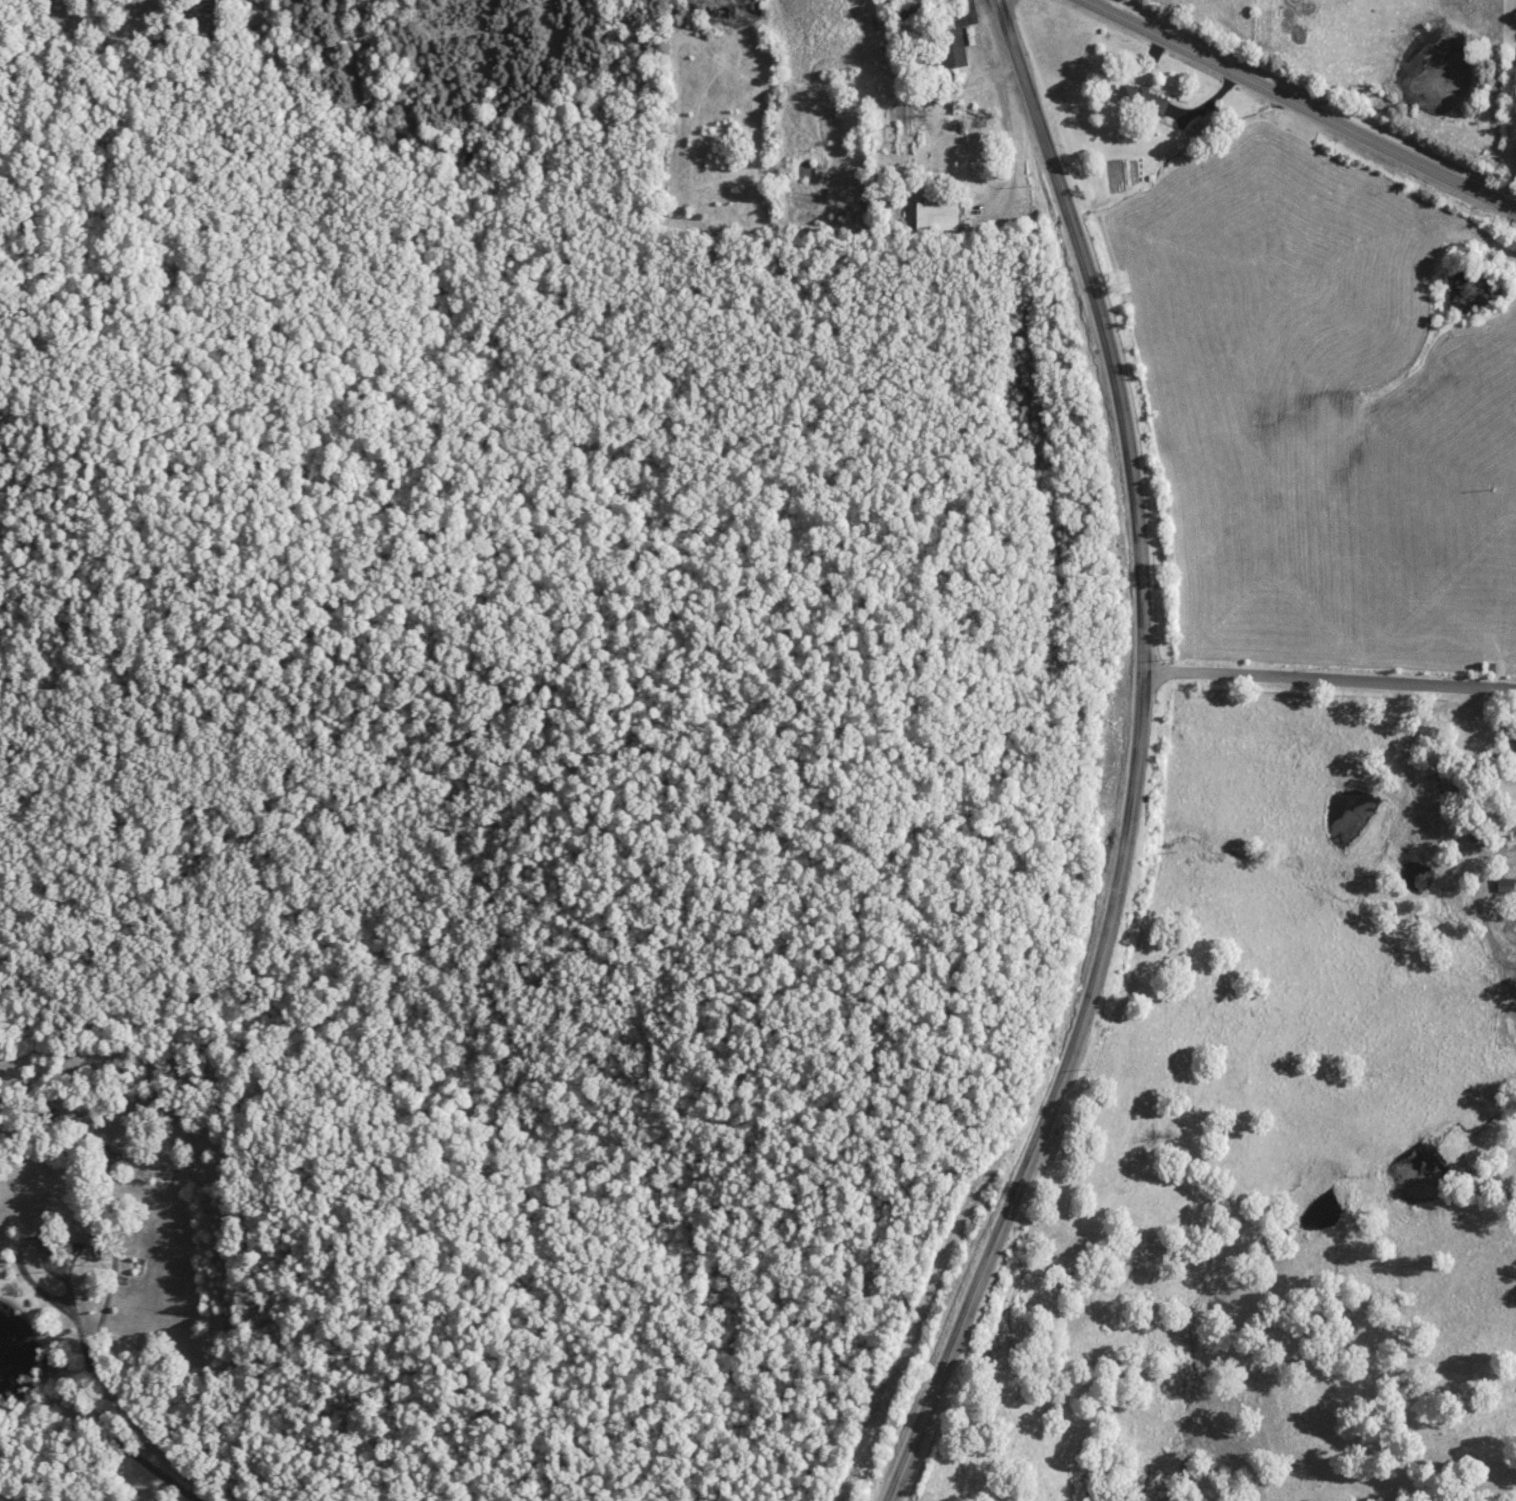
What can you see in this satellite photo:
road: (1006, 7)
building: (950, 49)
building: (1140, 102)
road: (1301, 103)
building: (1210, 120)
building: (937, 214)
road: (1326, 669)
road: (1131, 763)
building: (1503, 885)
road: (97, 1423)

